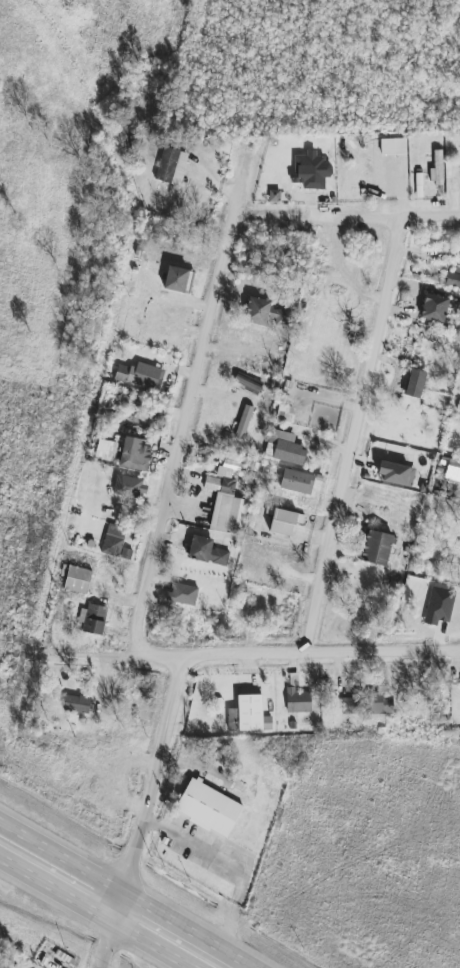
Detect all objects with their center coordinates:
building: (119, 136)
building: (393, 147)
building: (172, 167)
building: (437, 169)
building: (311, 171)
building: (274, 196)
road: (384, 217)
building: (178, 280)
building: (452, 280)
building: (434, 308)
building: (264, 313)
building: (130, 375)
building: (247, 384)
building: (415, 384)
building: (244, 422)
road: (182, 423)
road: (352, 432)
building: (284, 448)
building: (135, 455)
building: (396, 474)
building: (297, 482)
building: (130, 487)
building: (226, 503)
building: (284, 521)
building: (114, 540)
building: (376, 548)
building: (207, 552)
building: (78, 580)
building: (182, 594)
building: (439, 606)
building: (94, 619)
road: (253, 652)
building: (298, 701)
building: (381, 703)
building: (77, 704)
building: (350, 706)
building: (246, 714)
road: (156, 775)
building: (208, 808)
road: (60, 862)
road: (231, 866)
road: (89, 915)
road: (109, 931)
road: (178, 932)

